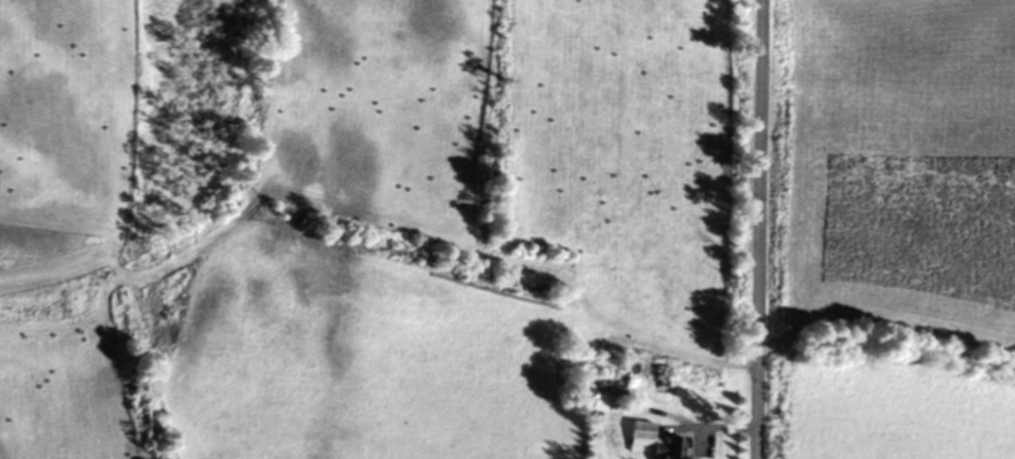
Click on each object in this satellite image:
road: (759, 229)
road: (726, 426)
building: (649, 441)

